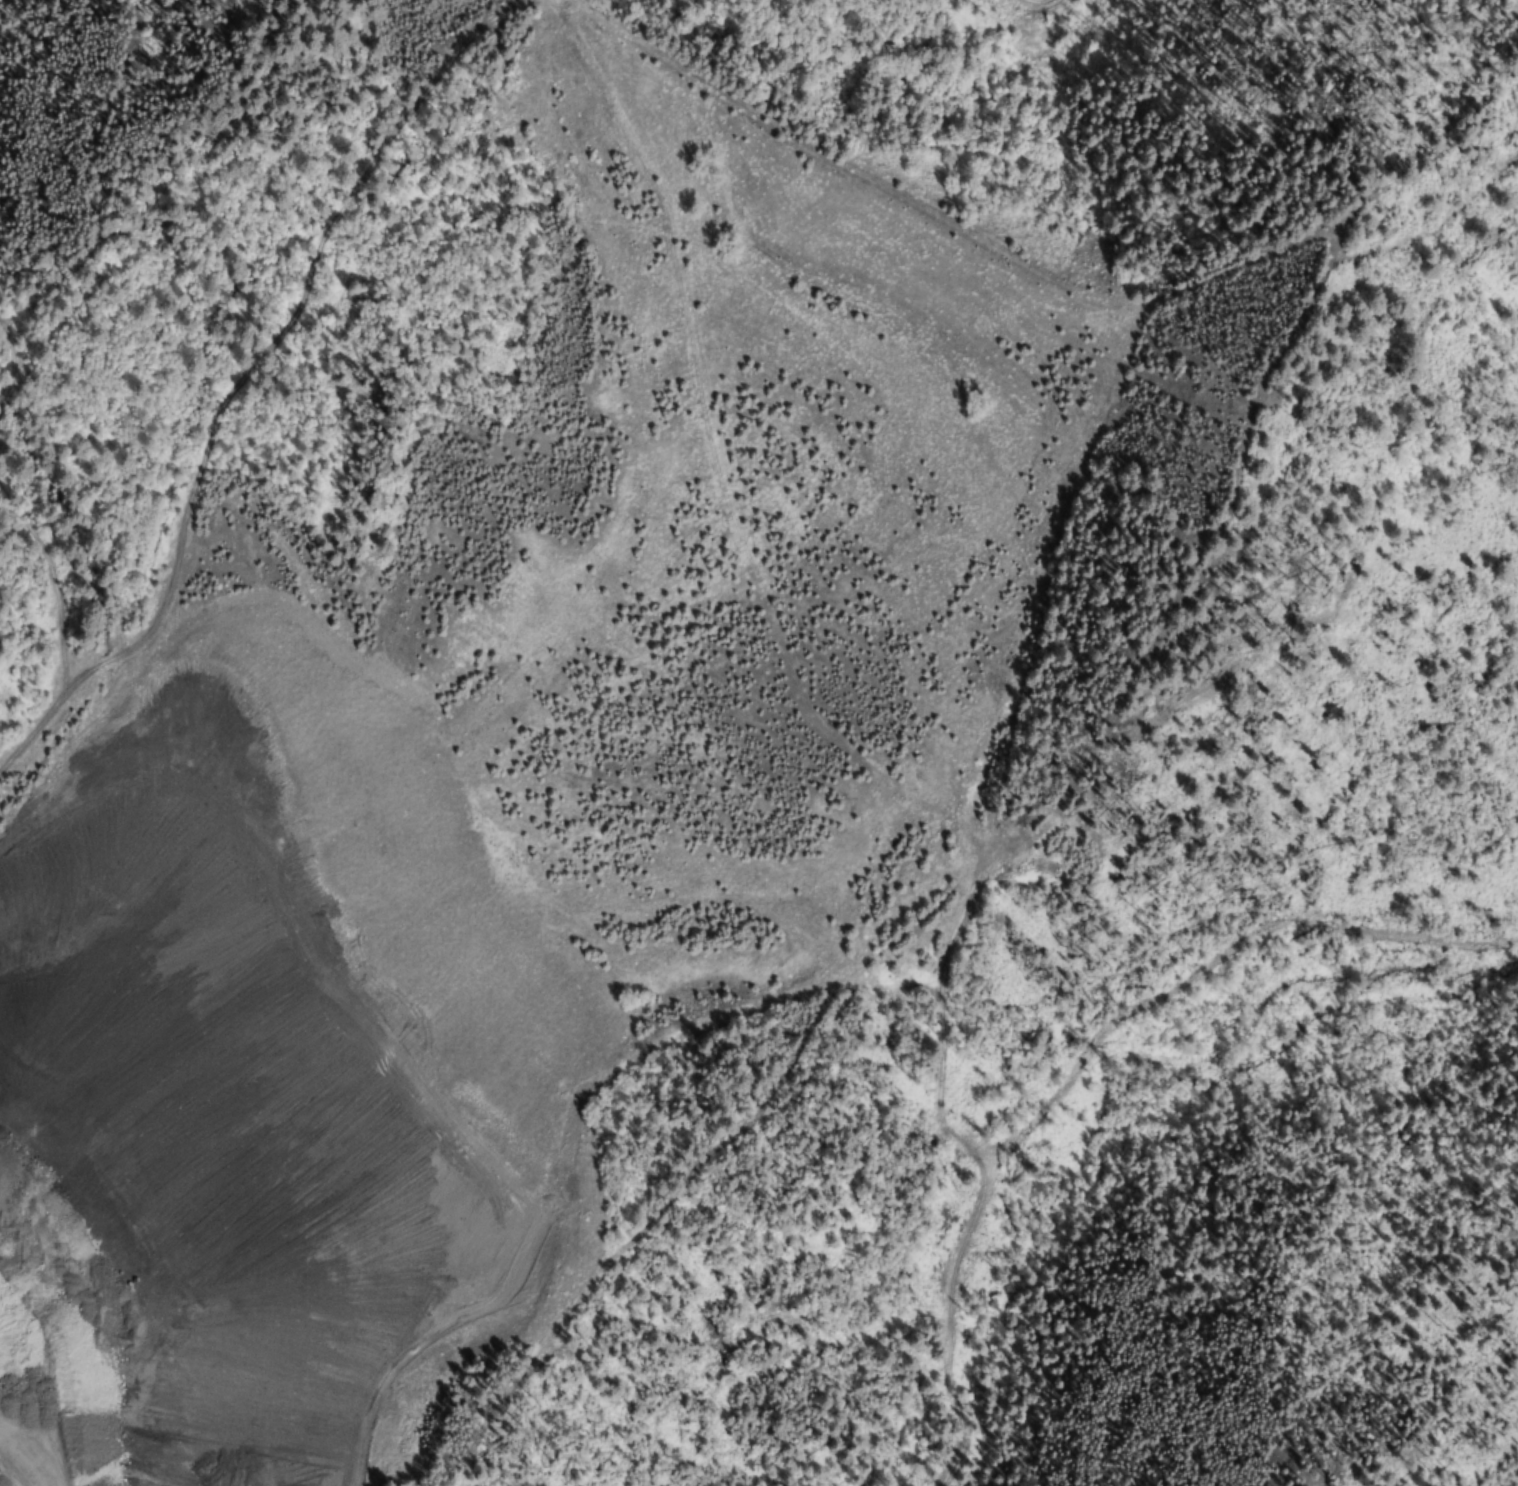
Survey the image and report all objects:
road: (238, 380)
quarry: (516, 787)
road: (195, 1223)

